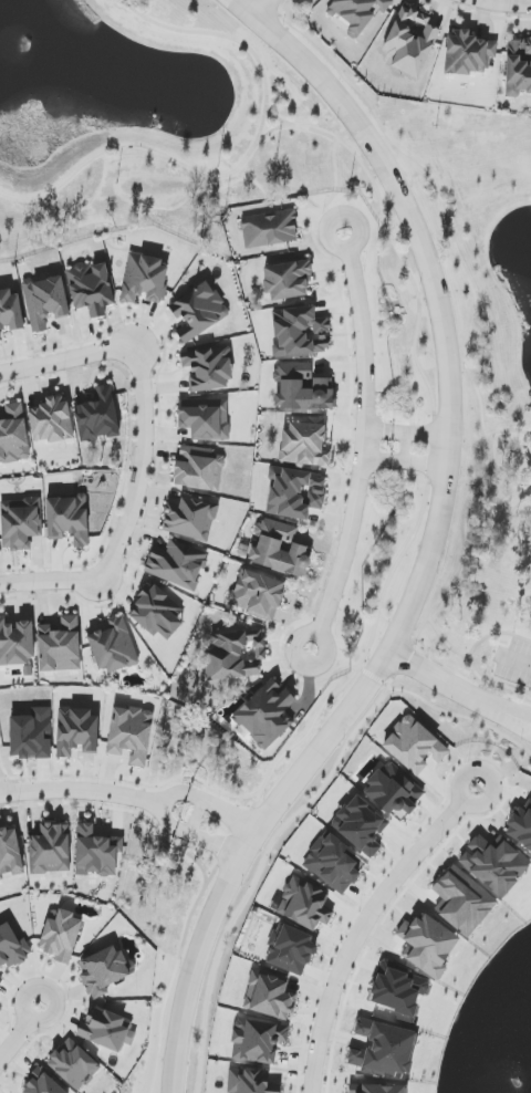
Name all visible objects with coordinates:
road: (235, 0)
road: (509, 3)
road: (261, 8)
building: (358, 13)
road: (217, 34)
building: (410, 41)
fountain: (25, 46)
building: (468, 53)
building: (519, 67)
road: (278, 117)
road: (133, 145)
road: (335, 165)
road: (315, 221)
building: (270, 229)
road: (400, 257)
building: (145, 279)
building: (288, 280)
building: (91, 288)
building: (45, 302)
road: (477, 306)
building: (10, 311)
building: (199, 312)
building: (300, 332)
building: (0, 337)
road: (63, 362)
building: (208, 368)
building: (302, 387)
building: (98, 416)
building: (205, 418)
building: (51, 420)
road: (379, 430)
road: (508, 430)
building: (13, 434)
road: (423, 434)
building: (305, 443)
road: (363, 445)
road: (407, 447)
road: (377, 458)
road: (419, 464)
road: (143, 466)
building: (198, 468)
building: (295, 493)
building: (69, 519)
building: (190, 519)
building: (20, 523)
road: (434, 543)
building: (281, 550)
building: (177, 564)
road: (51, 581)
building: (258, 594)
building: (157, 613)
building: (17, 643)
building: (60, 646)
building: (112, 646)
building: (236, 655)
road: (469, 658)
road: (516, 660)
road: (449, 684)
building: (265, 712)
road: (521, 717)
road: (521, 724)
building: (76, 731)
building: (131, 733)
building: (31, 735)
building: (414, 745)
road: (79, 790)
building: (394, 791)
road: (173, 793)
road: (225, 810)
road: (165, 816)
road: (196, 816)
building: (362, 826)
building: (520, 827)
road: (209, 842)
building: (51, 849)
building: (10, 853)
building: (335, 864)
building: (494, 864)
building: (464, 902)
building: (306, 904)
road: (375, 925)
building: (61, 936)
building: (428, 945)
building: (12, 947)
building: (292, 950)
building: (104, 970)
building: (1, 980)
building: (269, 996)
building: (105, 1029)
road: (19, 1030)
building: (387, 1047)
building: (355, 1059)
building: (73, 1064)
building: (43, 1083)
building: (376, 1089)

